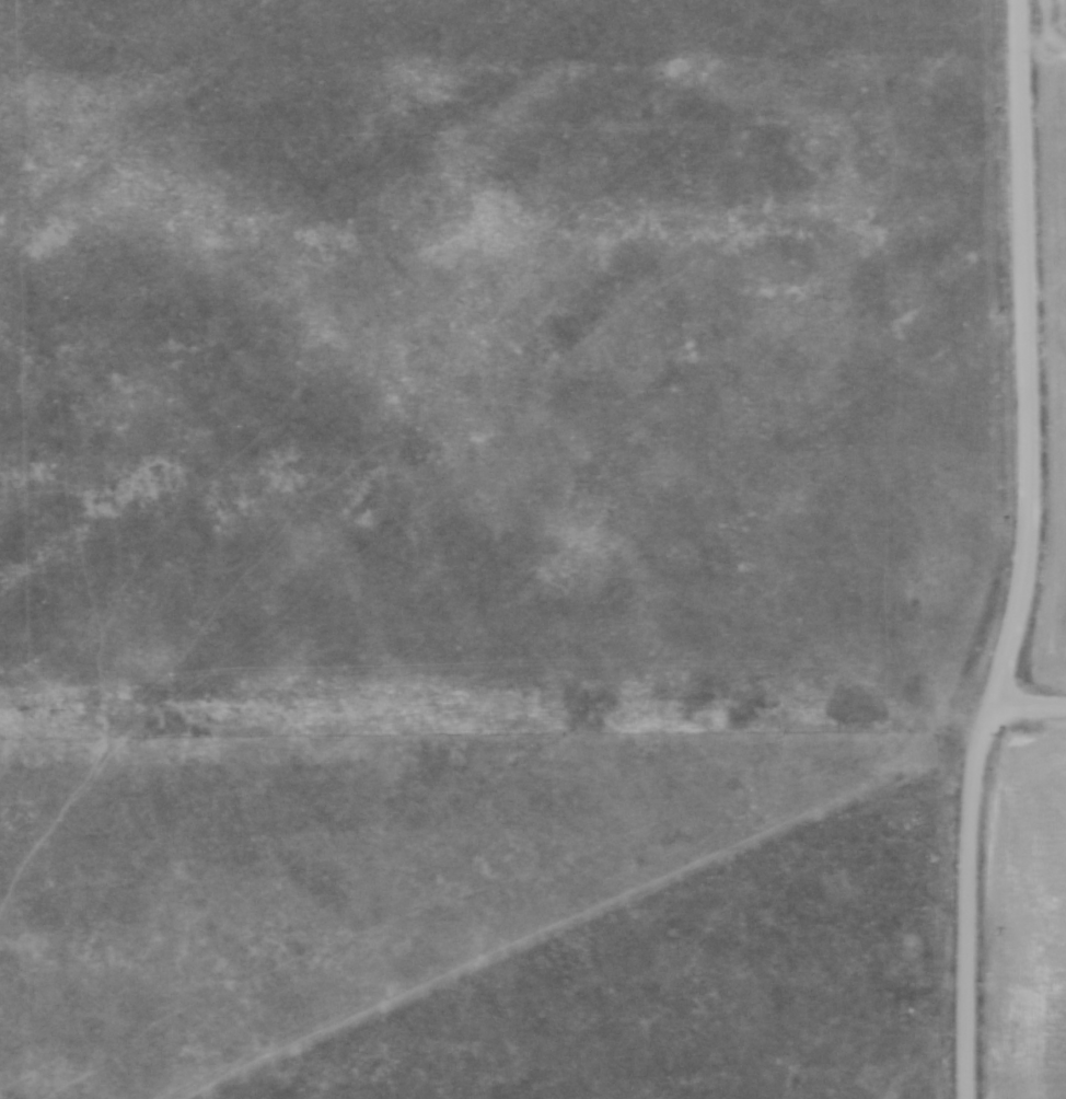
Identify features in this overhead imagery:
crop: (1052, 344)
road: (1028, 357)
road: (1028, 710)
road: (966, 903)
crop: (1030, 923)

